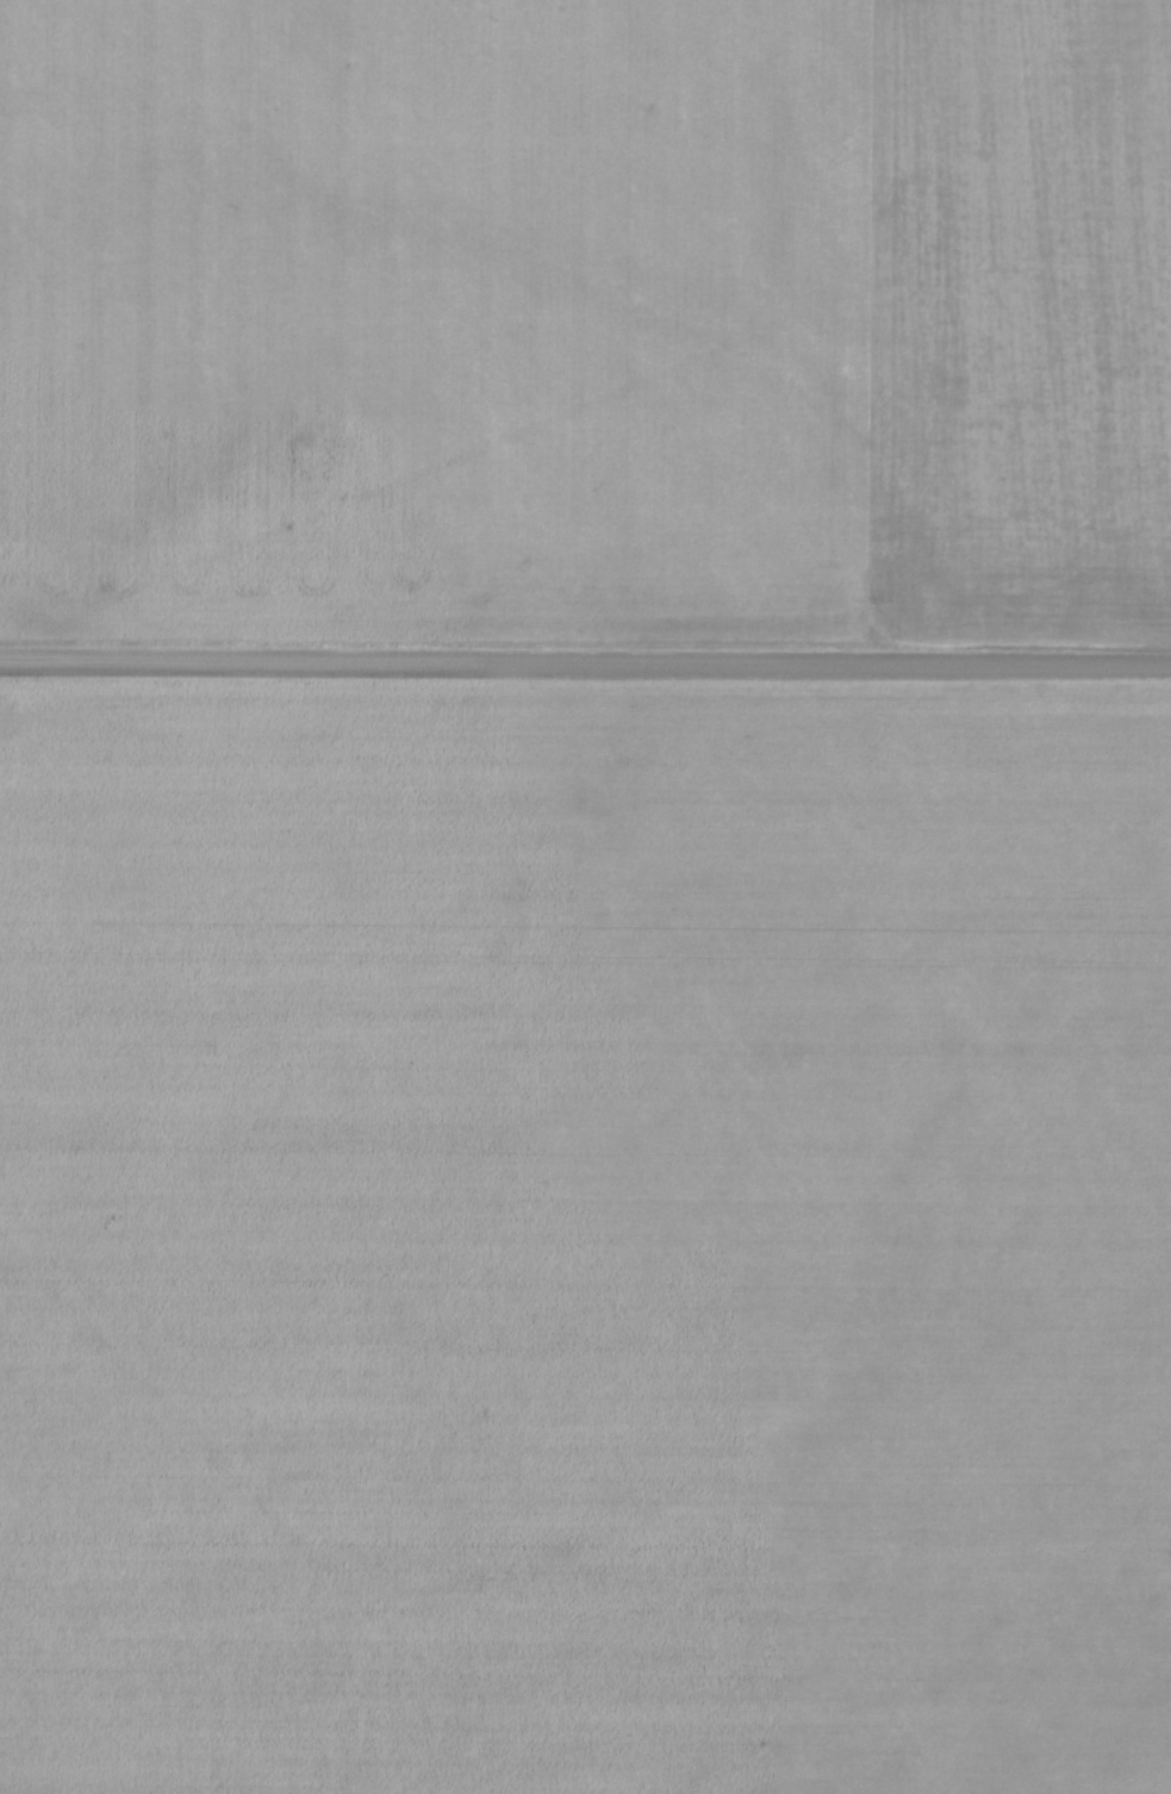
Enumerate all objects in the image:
crop: (586, 317)
road: (585, 660)
crop: (584, 1240)

